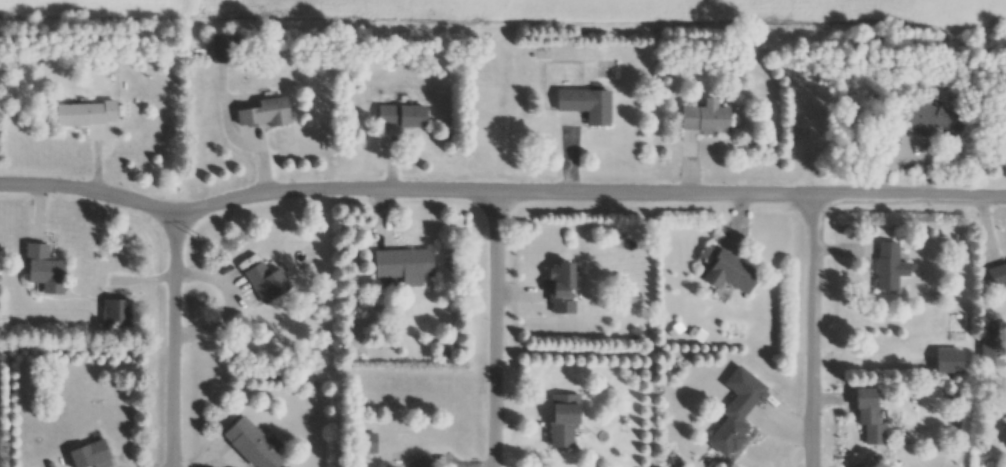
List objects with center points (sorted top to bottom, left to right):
building: (582, 108)
building: (86, 113)
building: (263, 118)
building: (397, 119)
building: (701, 121)
building: (925, 124)
road: (95, 191)
road: (595, 195)
power tower: (202, 239)
building: (44, 268)
building: (398, 269)
building: (883, 272)
building: (724, 277)
building: (555, 287)
building: (114, 314)
road: (498, 330)
road: (815, 333)
road: (173, 339)
building: (940, 367)
building: (729, 416)
building: (556, 421)
building: (860, 422)
building: (1005, 429)
building: (245, 447)
building: (89, 453)

